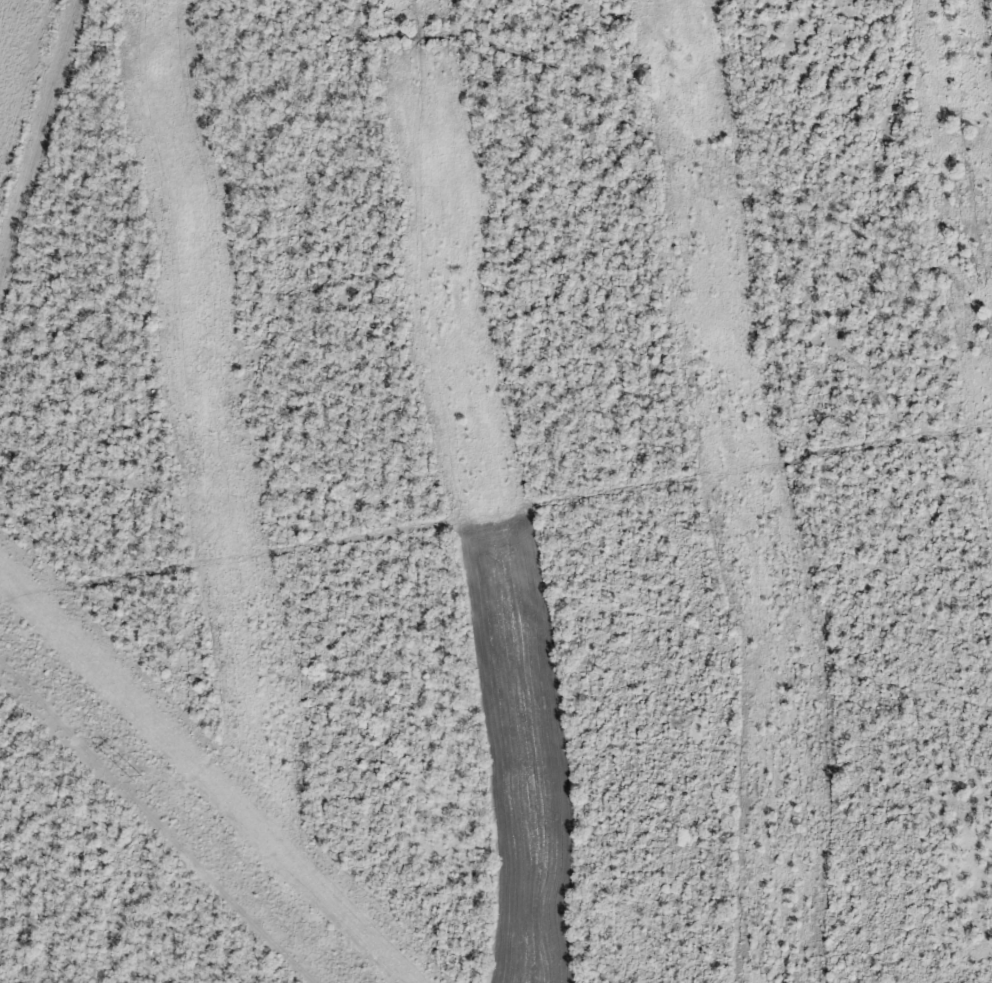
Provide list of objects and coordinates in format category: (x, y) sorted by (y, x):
road: (37, 129)
power tower: (136, 777)

